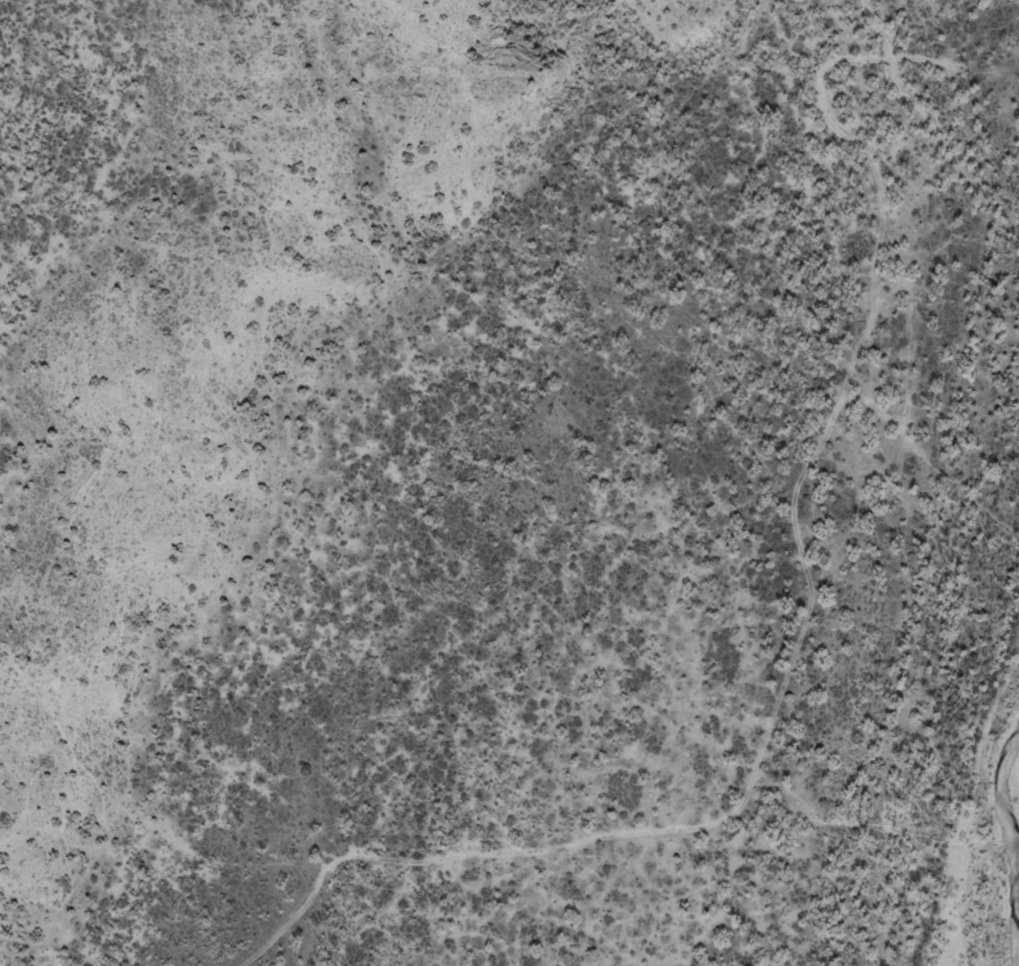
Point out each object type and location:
river: (1013, 772)

